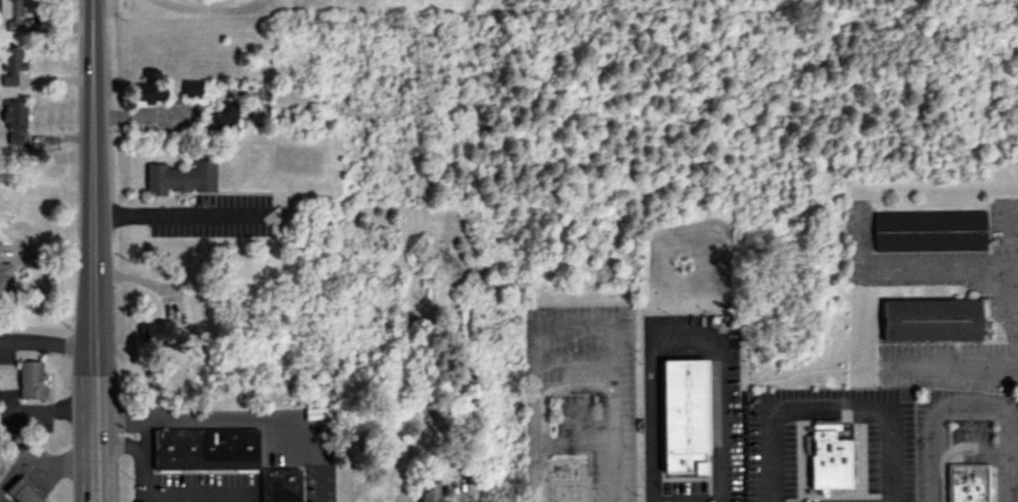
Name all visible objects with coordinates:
building: (12, 14)
building: (11, 66)
building: (151, 88)
building: (192, 90)
building: (223, 118)
building: (291, 120)
building: (15, 124)
building: (181, 179)
road: (176, 212)
building: (929, 232)
road: (1013, 233)
road: (93, 251)
building: (5, 278)
building: (930, 321)
building: (156, 334)
road: (47, 343)
road: (714, 346)
road: (1003, 361)
building: (31, 382)
road: (577, 388)
road: (828, 404)
road: (967, 405)
road: (49, 410)
road: (120, 416)
road: (271, 416)
building: (685, 417)
road: (144, 431)
road: (119, 445)
building: (205, 451)
building: (829, 459)
road: (43, 463)
road: (146, 474)
building: (569, 477)
building: (968, 484)
building: (280, 485)
building: (21, 492)
building: (431, 492)
building: (378, 496)

